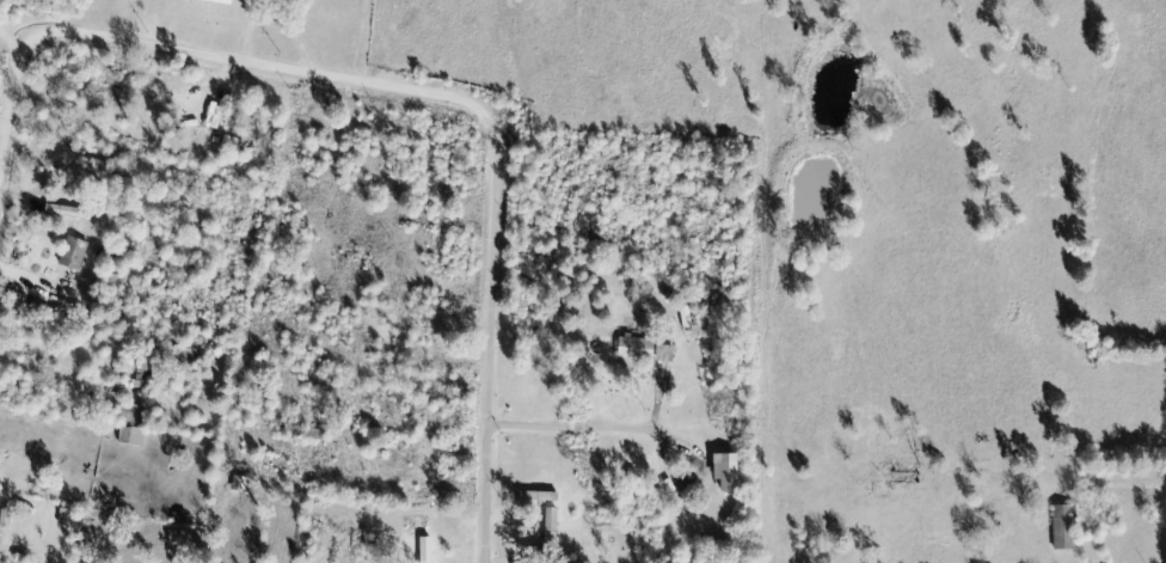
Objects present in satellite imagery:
building: (223, 1)
road: (348, 80)
building: (70, 214)
building: (76, 255)
building: (640, 350)
building: (732, 475)
road: (487, 494)
building: (7, 527)
building: (1067, 530)
building: (556, 531)
building: (430, 551)

